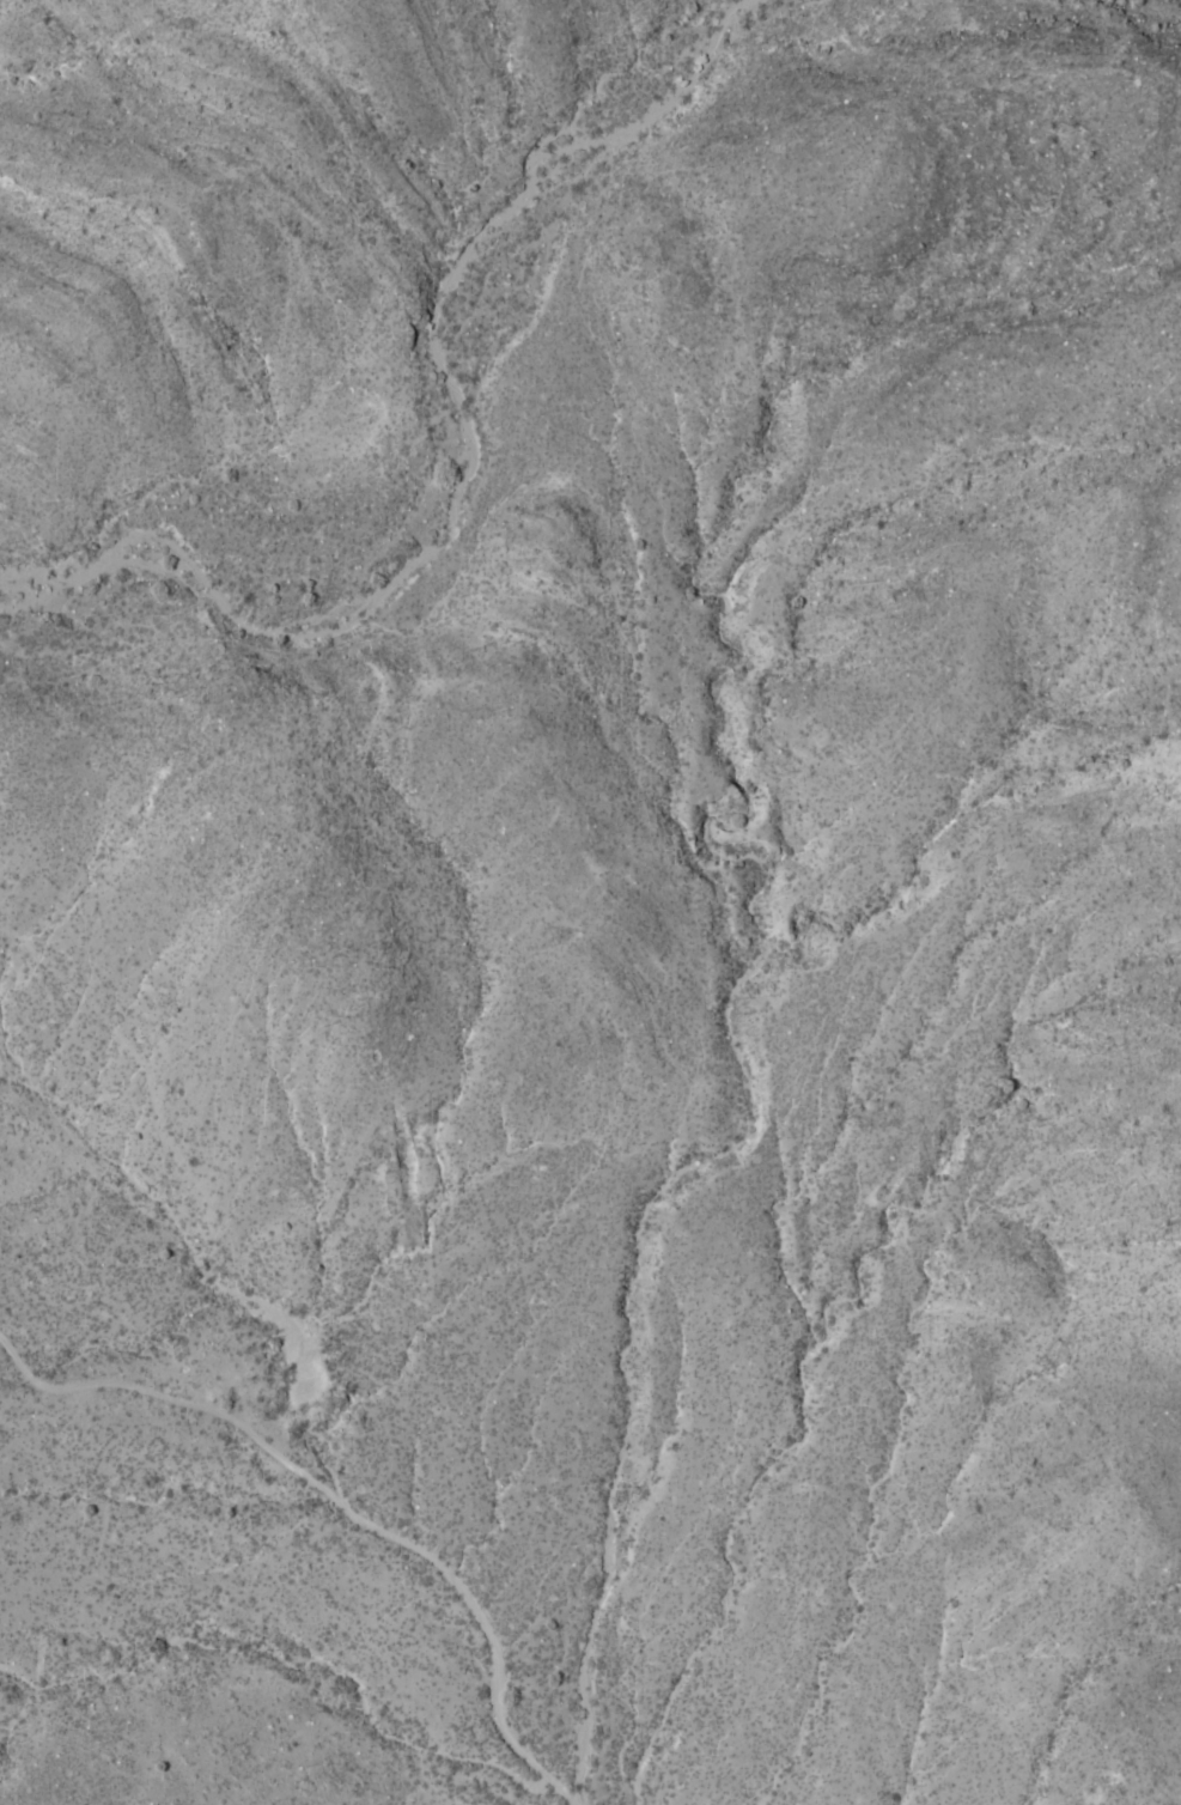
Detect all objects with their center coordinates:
road: (342, 1505)

